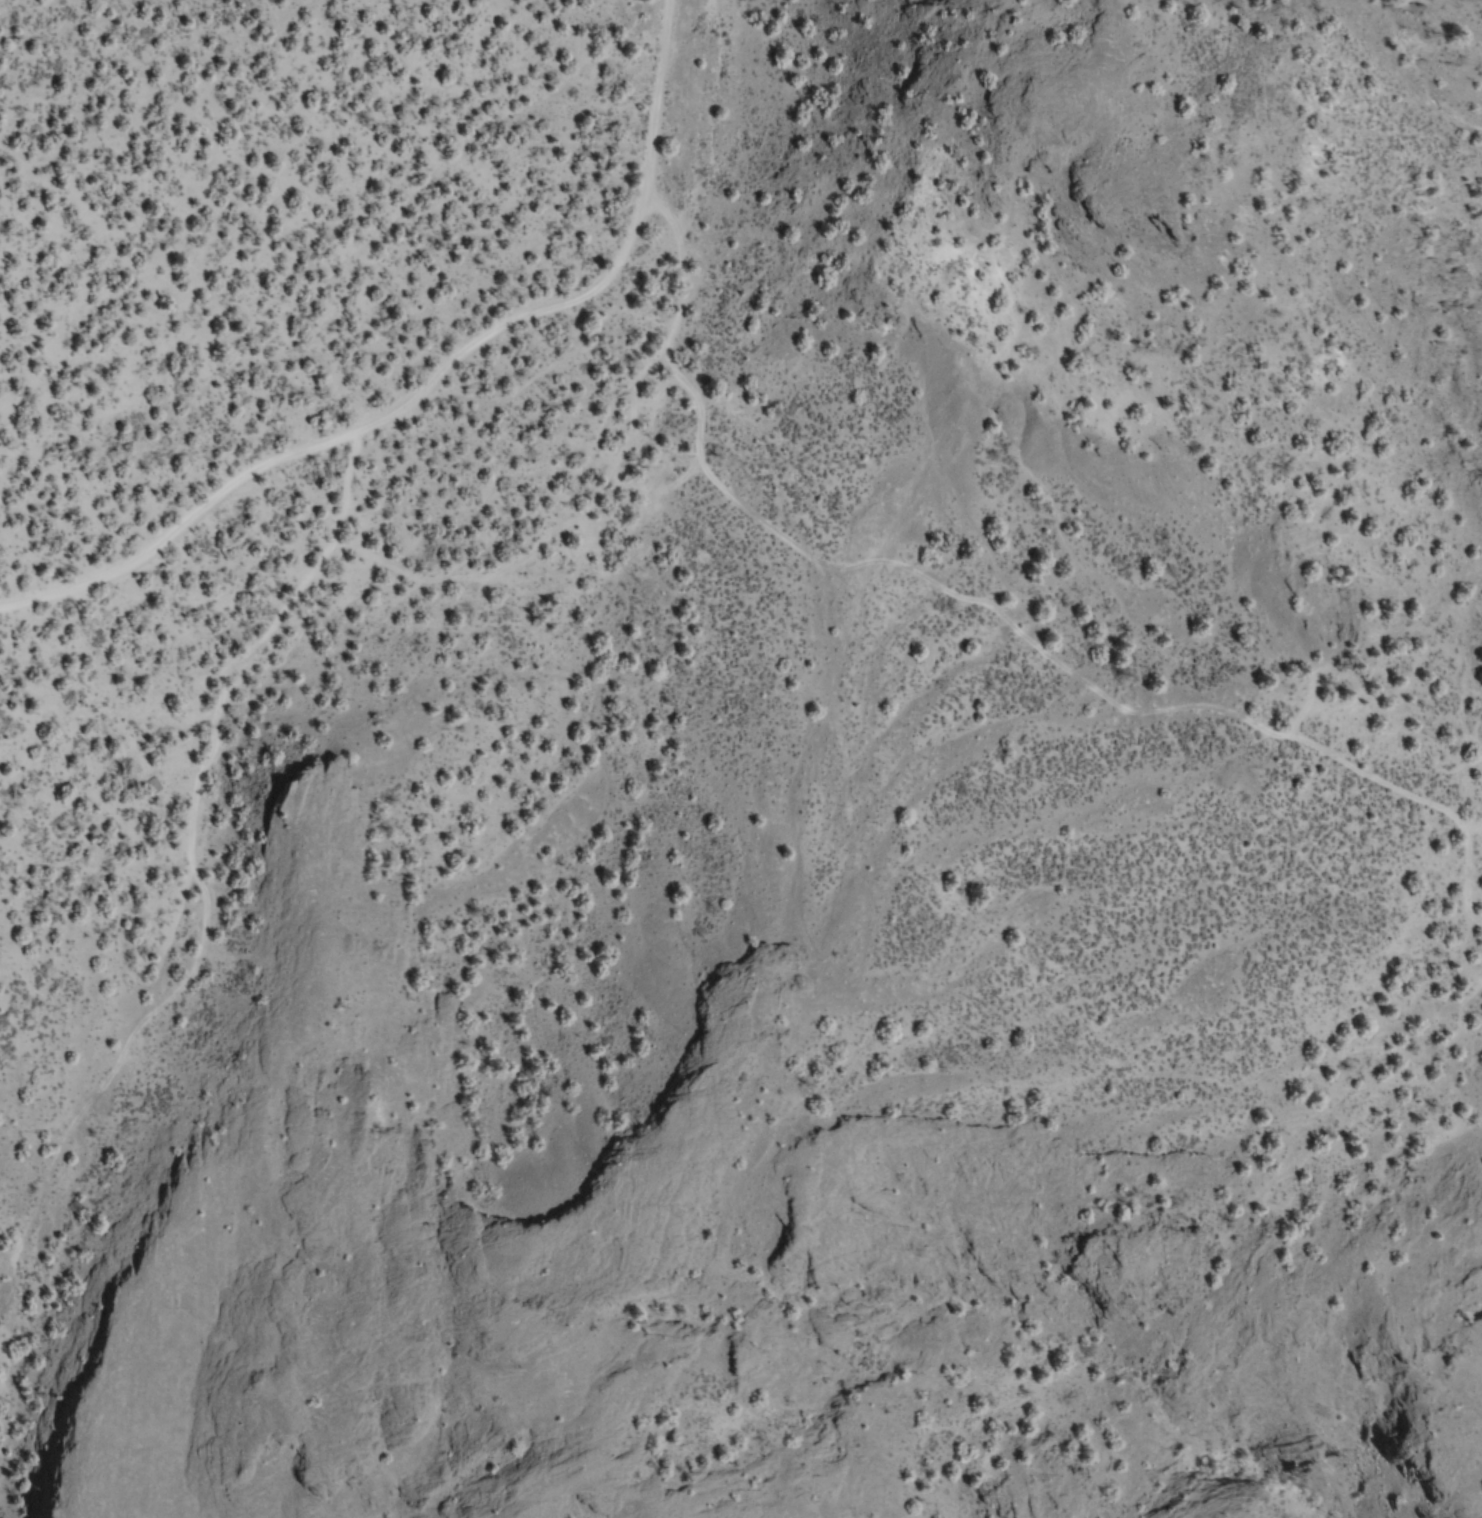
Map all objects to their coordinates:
road: (440, 387)

